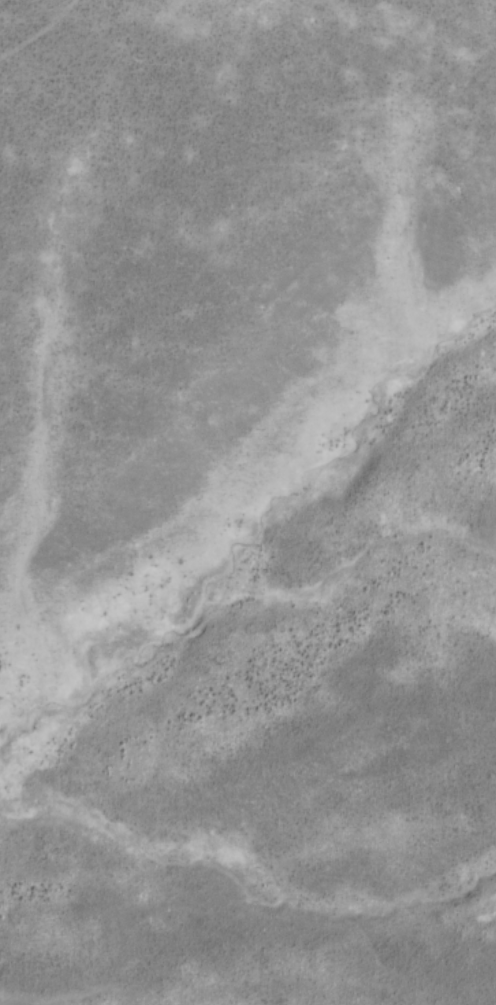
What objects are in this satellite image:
road: (38, 33)

